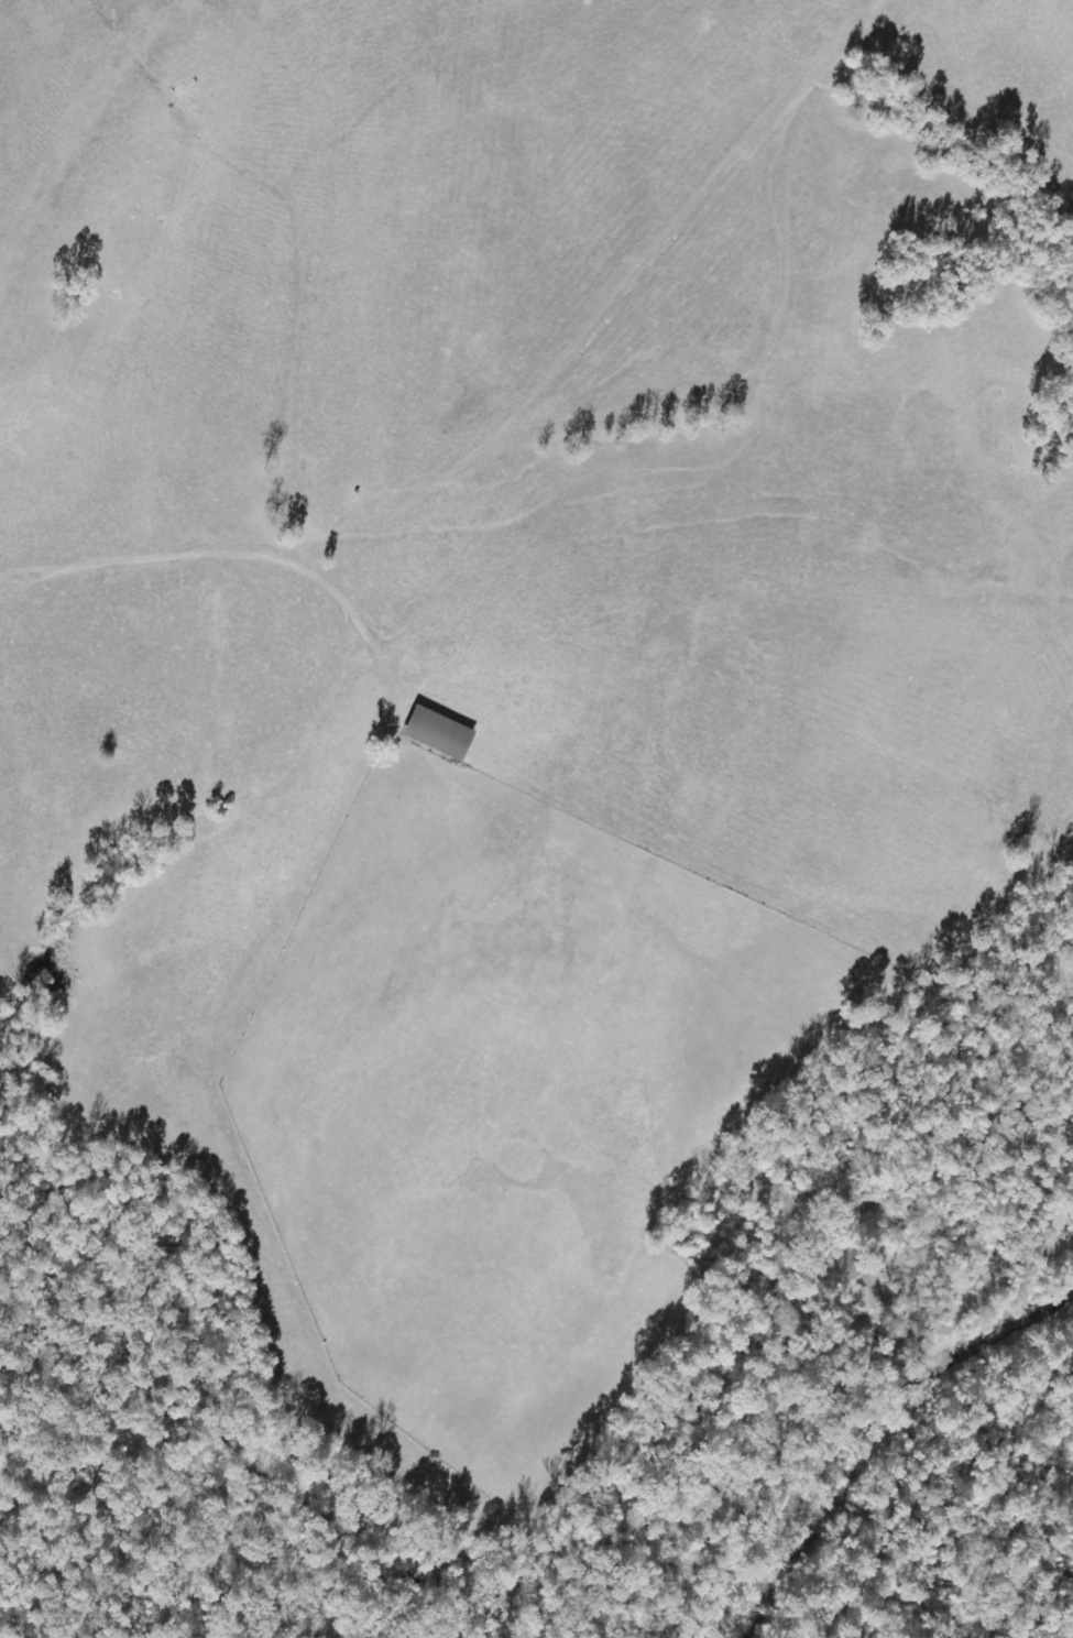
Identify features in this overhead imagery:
building: (437, 735)

